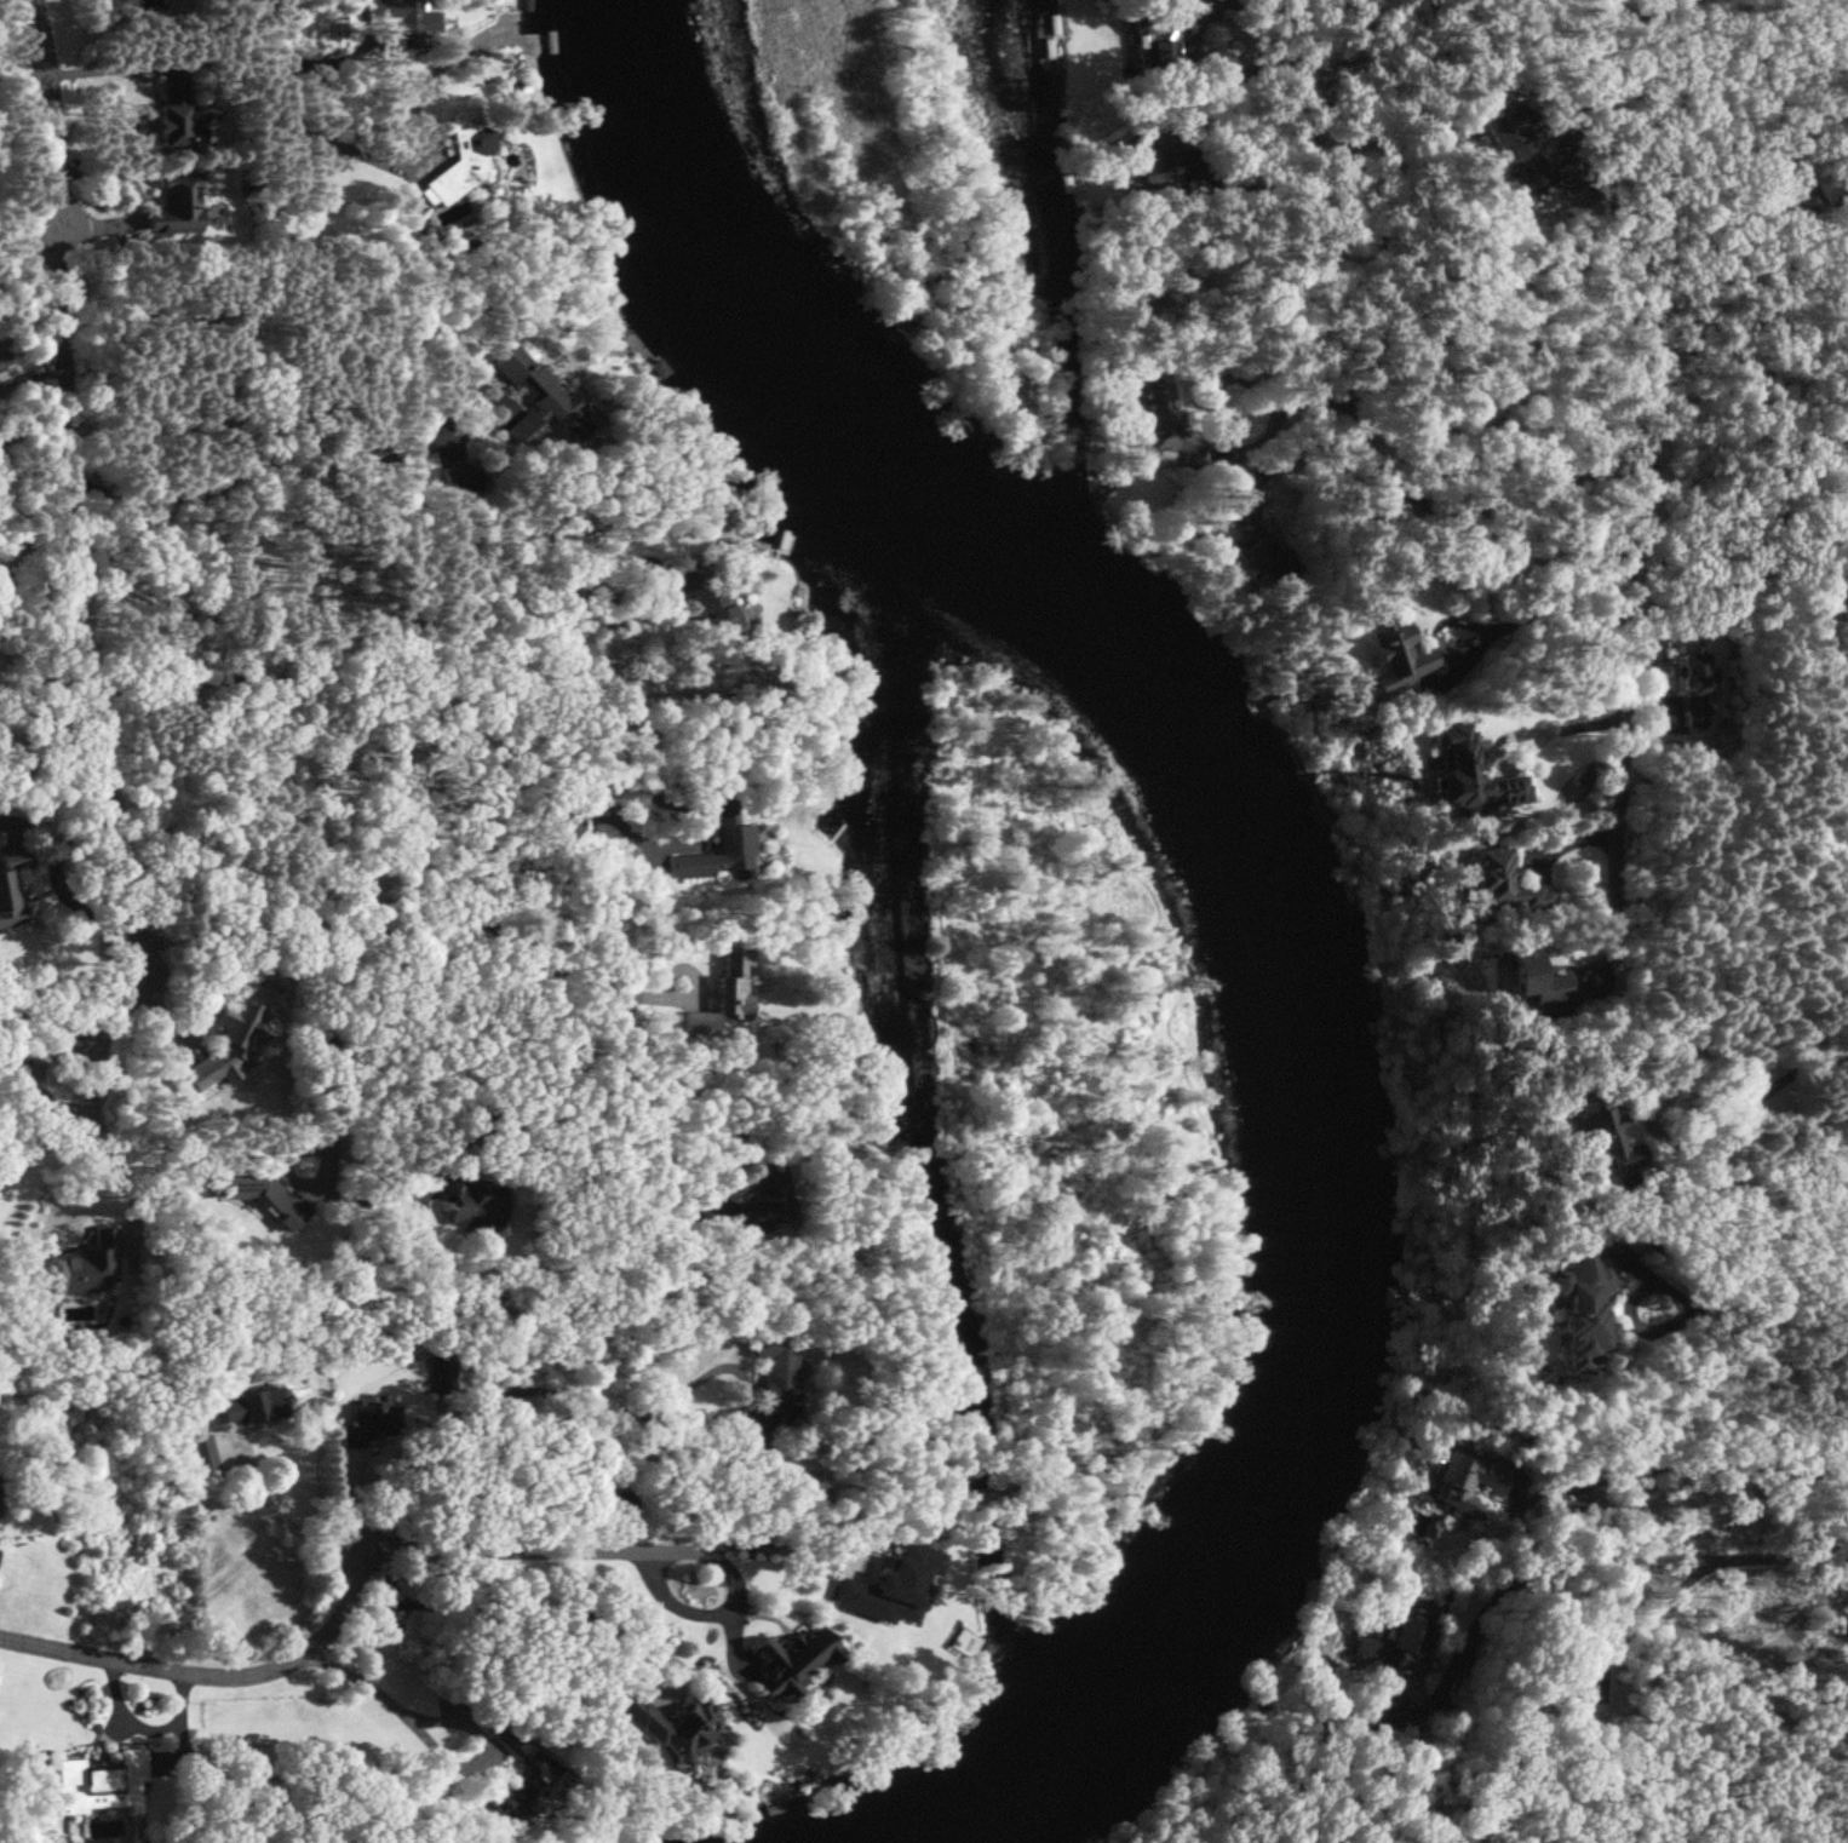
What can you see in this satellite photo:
building: (125, 4)
road: (1658, 11)
building: (402, 19)
road: (1285, 34)
building: (1155, 58)
building: (176, 115)
building: (1513, 134)
road: (344, 144)
building: (458, 156)
building: (1149, 167)
building: (1792, 189)
building: (176, 207)
road: (155, 218)
road: (33, 360)
building: (539, 400)
building: (1166, 421)
road: (33, 424)
road: (1618, 449)
road: (309, 450)
road: (69, 494)
building: (1233, 522)
building: (705, 598)
road: (1473, 622)
building: (1841, 635)
building: (1382, 649)
road: (1622, 666)
building: (1695, 685)
road: (1513, 733)
building: (1462, 770)
road: (566, 838)
building: (721, 845)
building: (1499, 882)
building: (11, 886)
river: (1272, 888)
road: (401, 926)
building: (1534, 976)
building: (731, 993)
road: (329, 1014)
building: (236, 1029)
road: (101, 1033)
road: (34, 1062)
road: (530, 1109)
road: (35, 1127)
building: (1601, 1135)
road: (111, 1160)
building: (763, 1200)
building: (469, 1204)
building: (1580, 1310)
building: (934, 1313)
road: (1726, 1326)
road: (1810, 1367)
building: (771, 1385)
building: (251, 1406)
road: (483, 1407)
building: (369, 1424)
road: (1695, 1459)
building: (1467, 1481)
building: (621, 1508)
road: (282, 1516)
road: (751, 1544)
road: (512, 1546)
road: (1628, 1557)
road: (510, 1603)
road: (1808, 1623)
building: (957, 1638)
building: (1402, 1648)
building: (786, 1665)
road: (218, 1675)
road: (380, 1693)
building: (670, 1723)
building: (99, 1784)

